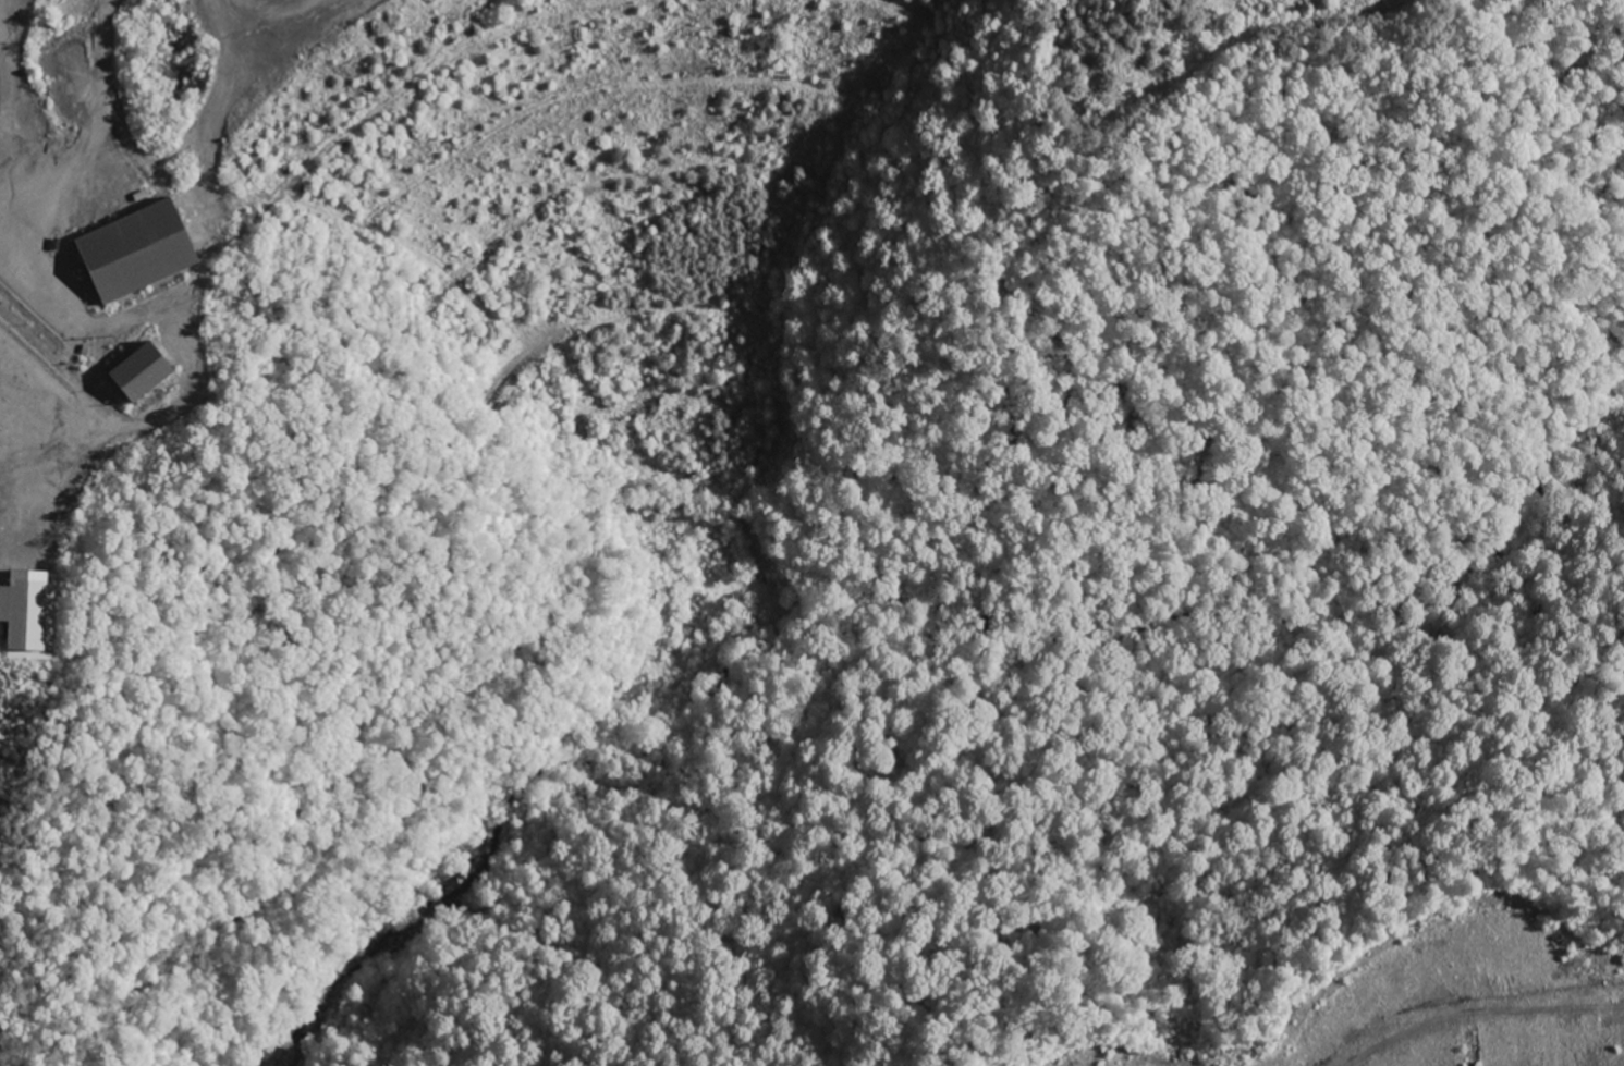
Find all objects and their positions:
building: (144, 250)
building: (148, 371)
building: (32, 615)

